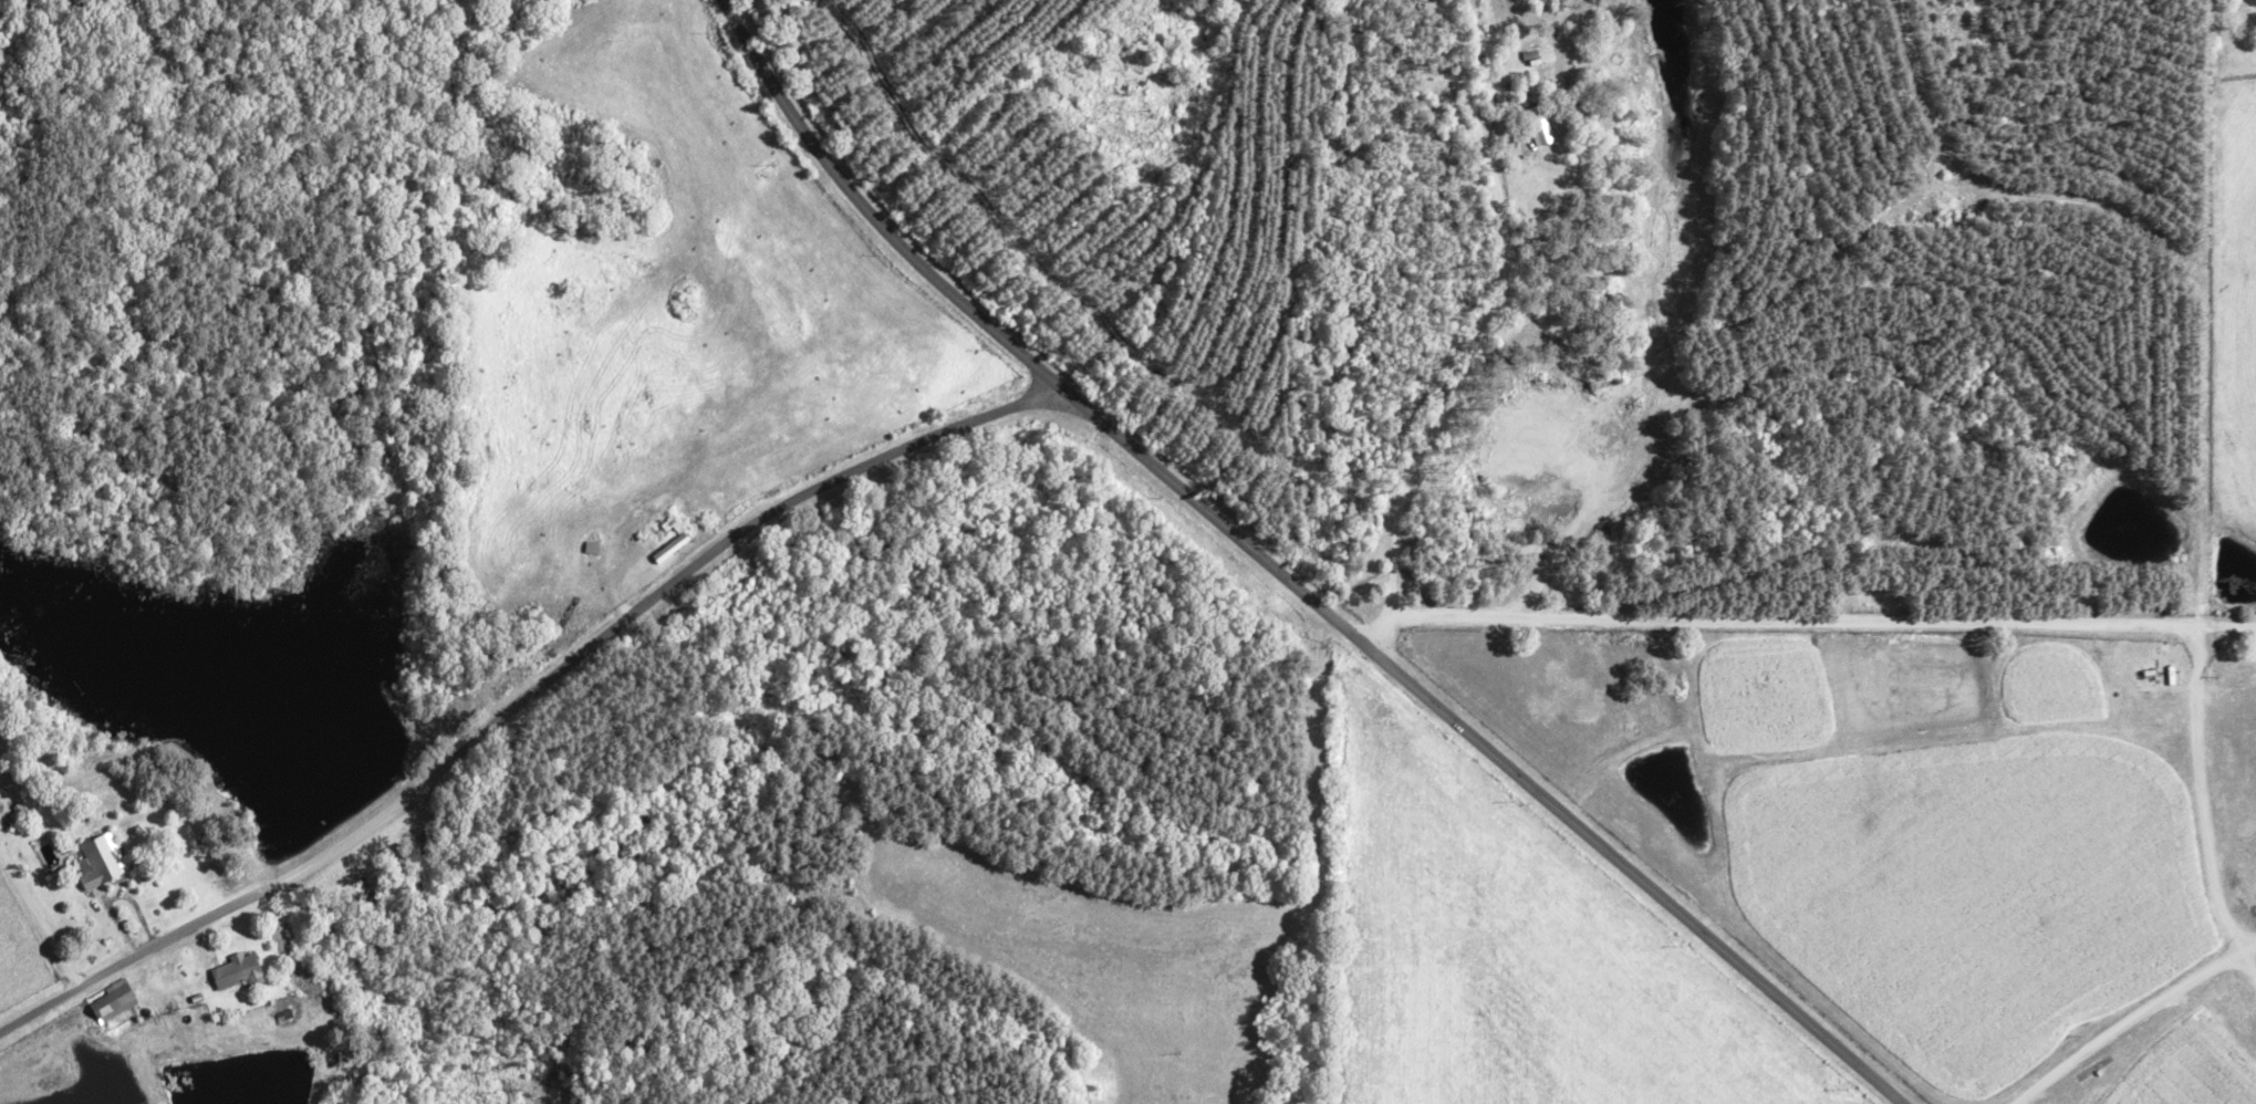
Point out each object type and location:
building: (1536, 125)
building: (668, 542)
road: (1283, 577)
road: (1806, 622)
road: (524, 700)
road: (2204, 801)
building: (97, 861)
building: (235, 971)
building: (108, 1001)
road: (2133, 1019)

